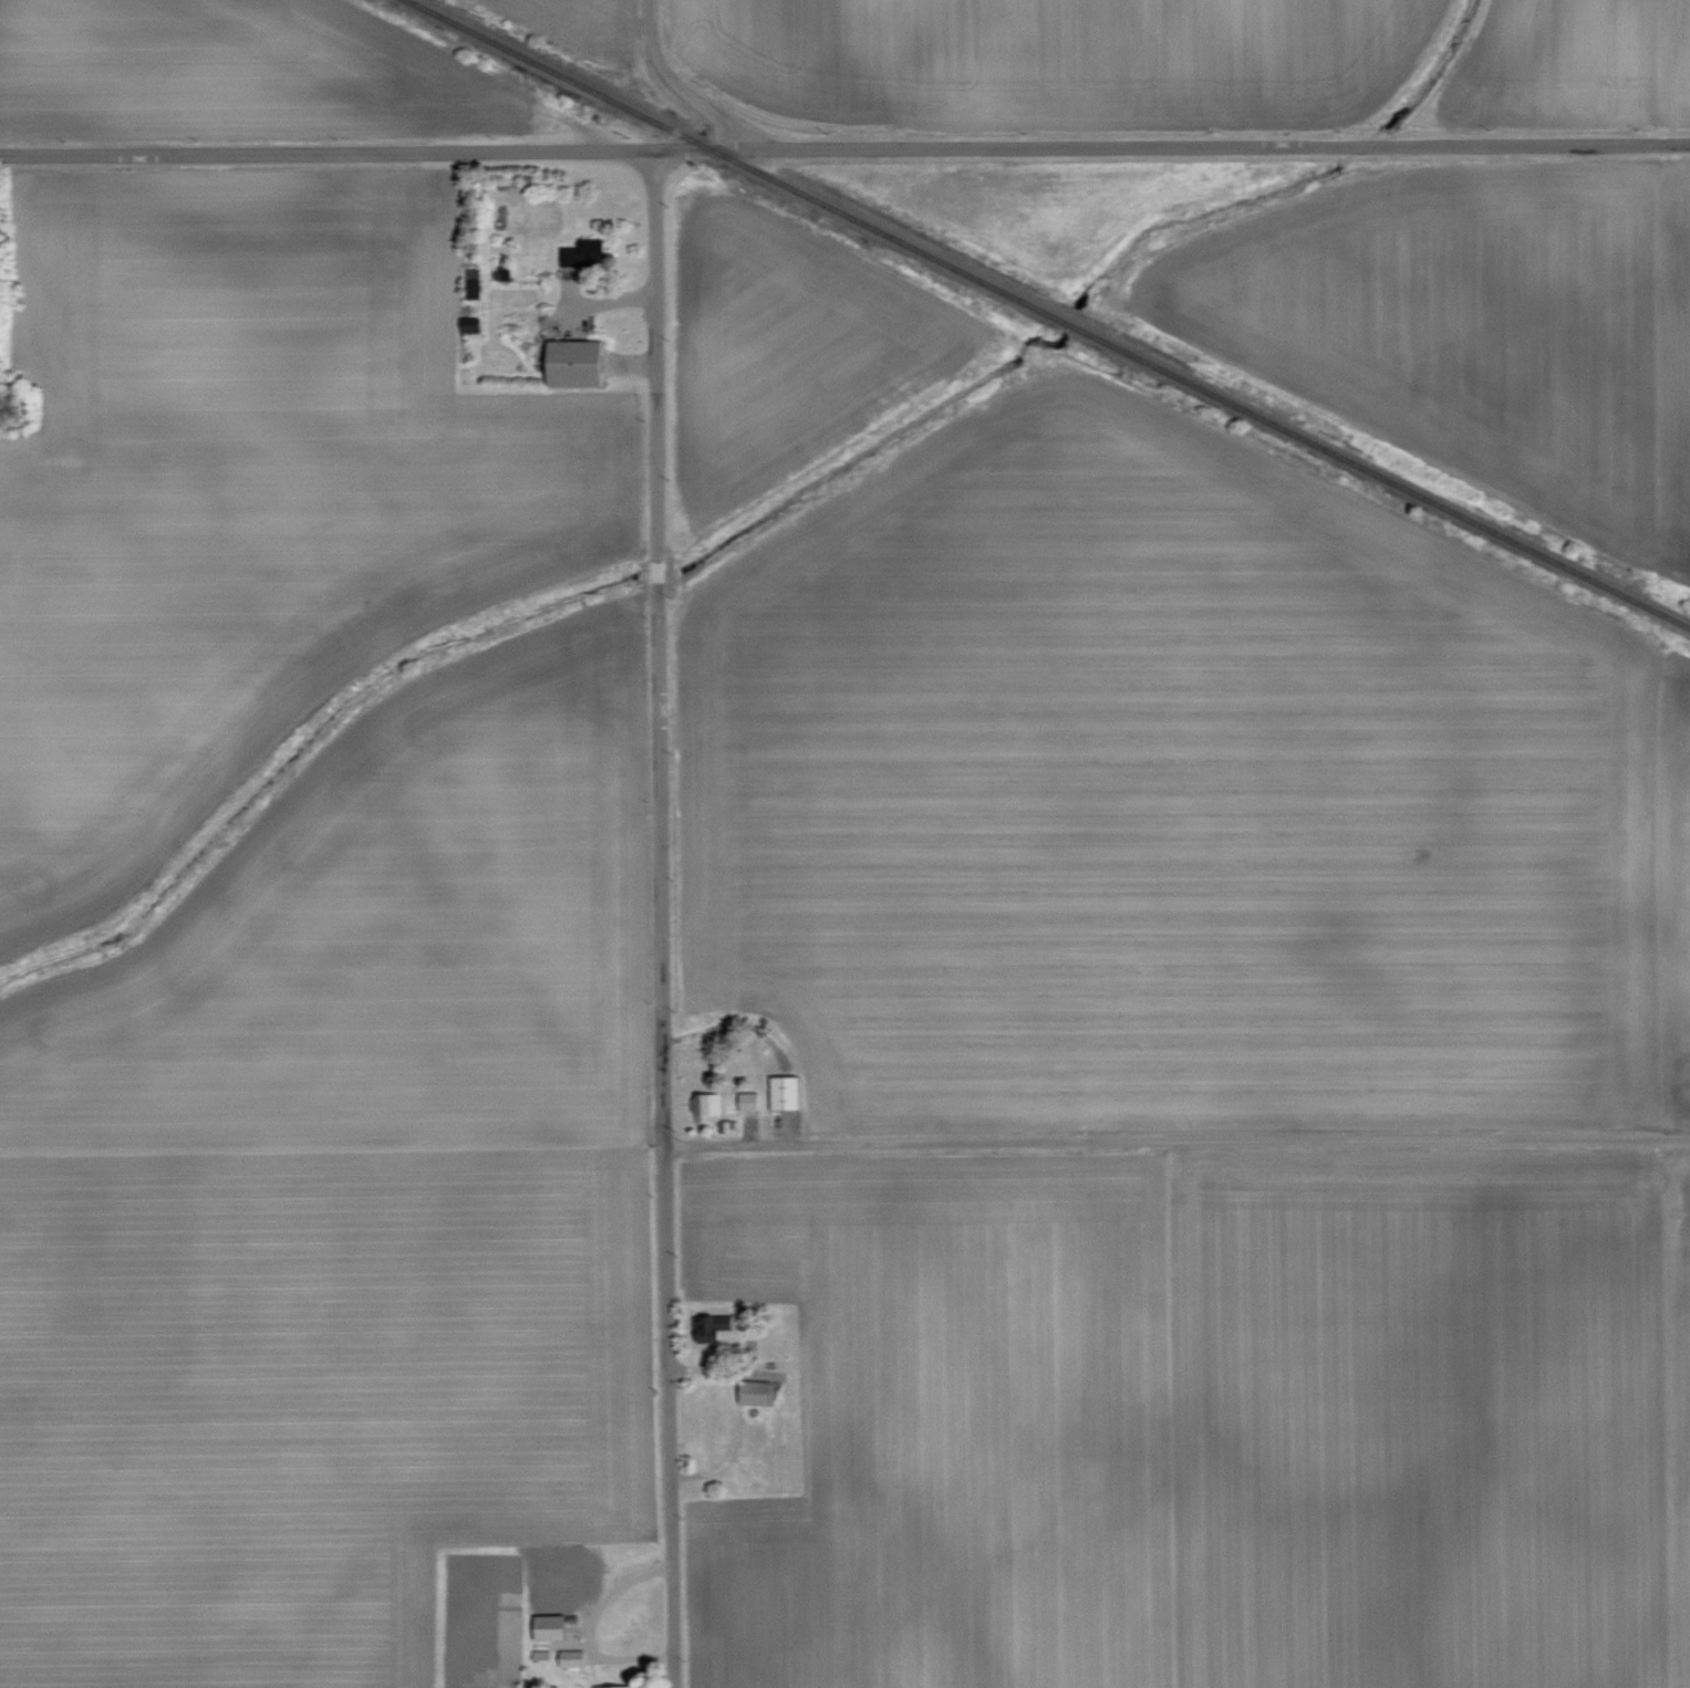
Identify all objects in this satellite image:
road: (676, 85)
road: (844, 147)
railway: (1051, 312)
road: (655, 350)
road: (656, 570)
road: (1176, 1138)
road: (664, 1139)
road: (742, 1413)

